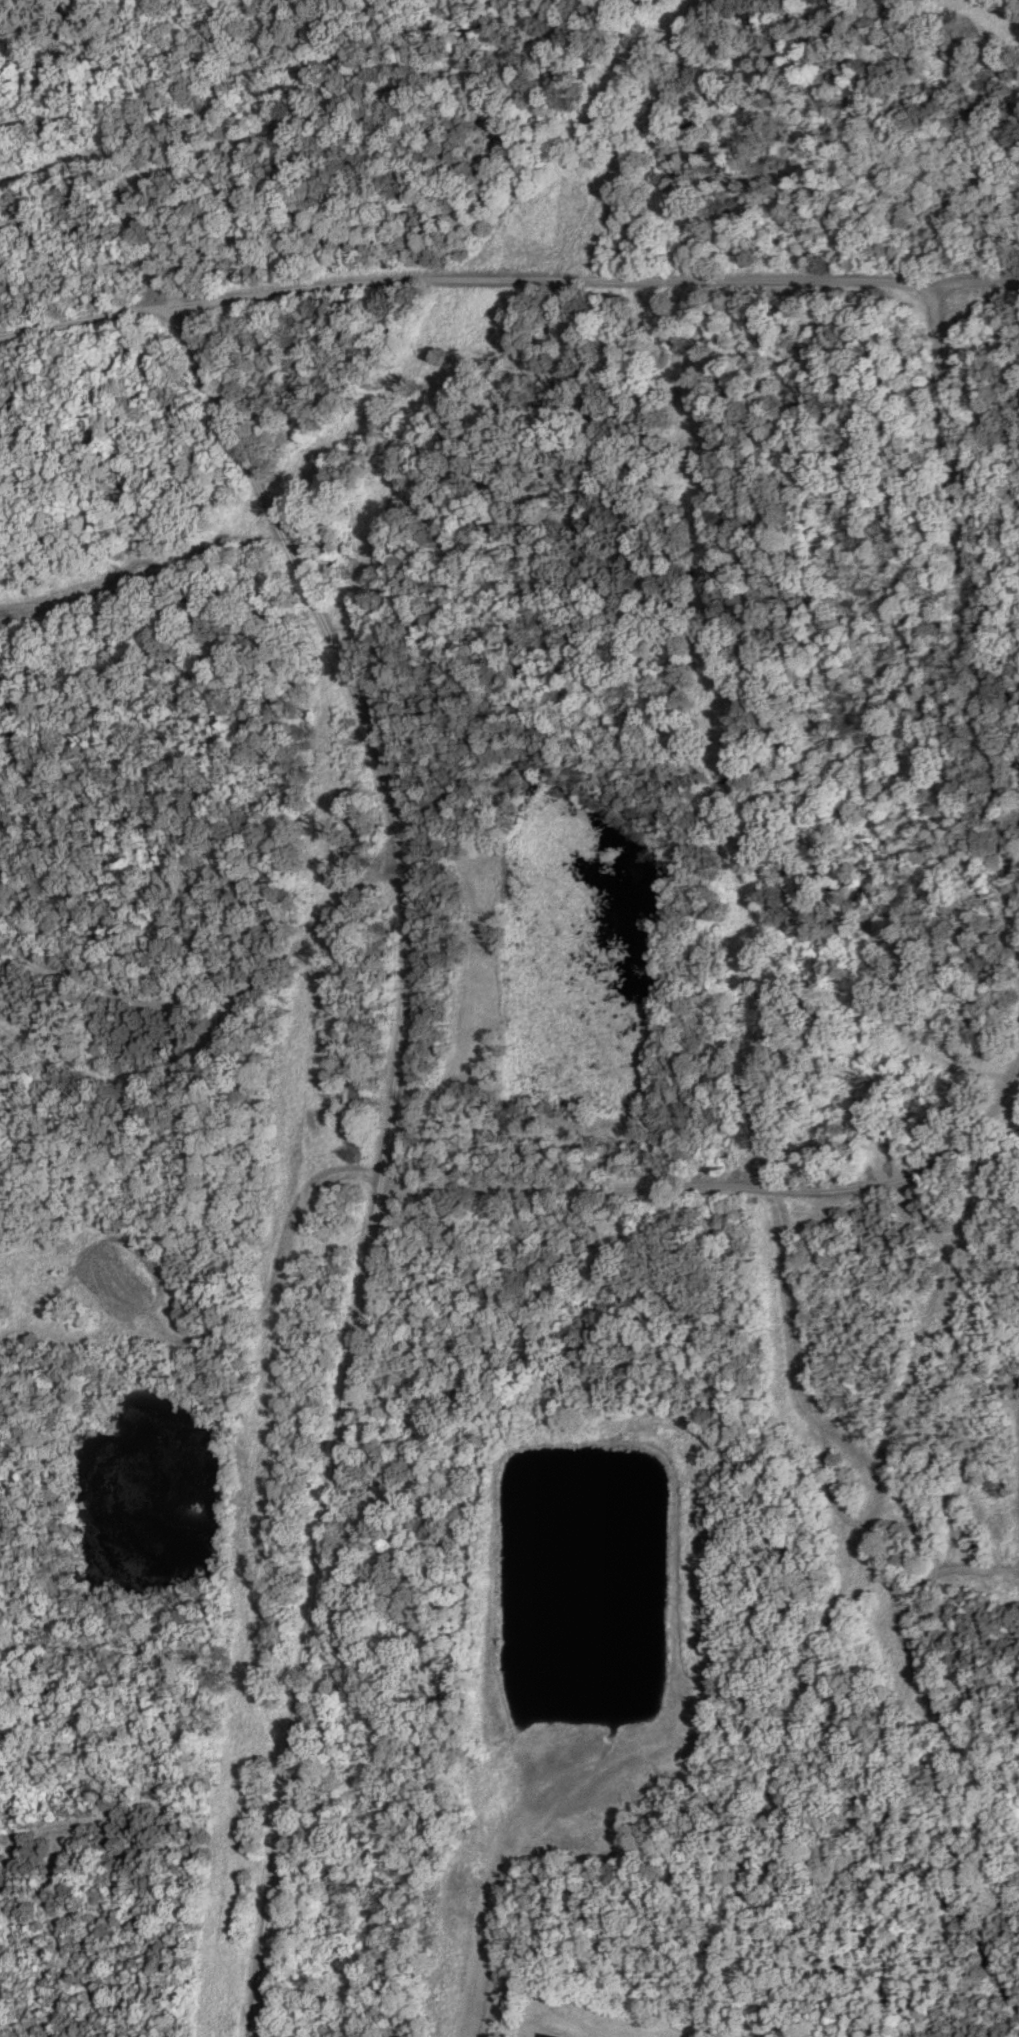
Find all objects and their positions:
road: (984, 17)
road: (374, 92)
road: (238, 96)
road: (507, 278)
road: (971, 603)
road: (221, 998)
road: (394, 1065)
road: (134, 1072)
road: (727, 1185)
road: (848, 1571)
building: (548, 2035)

